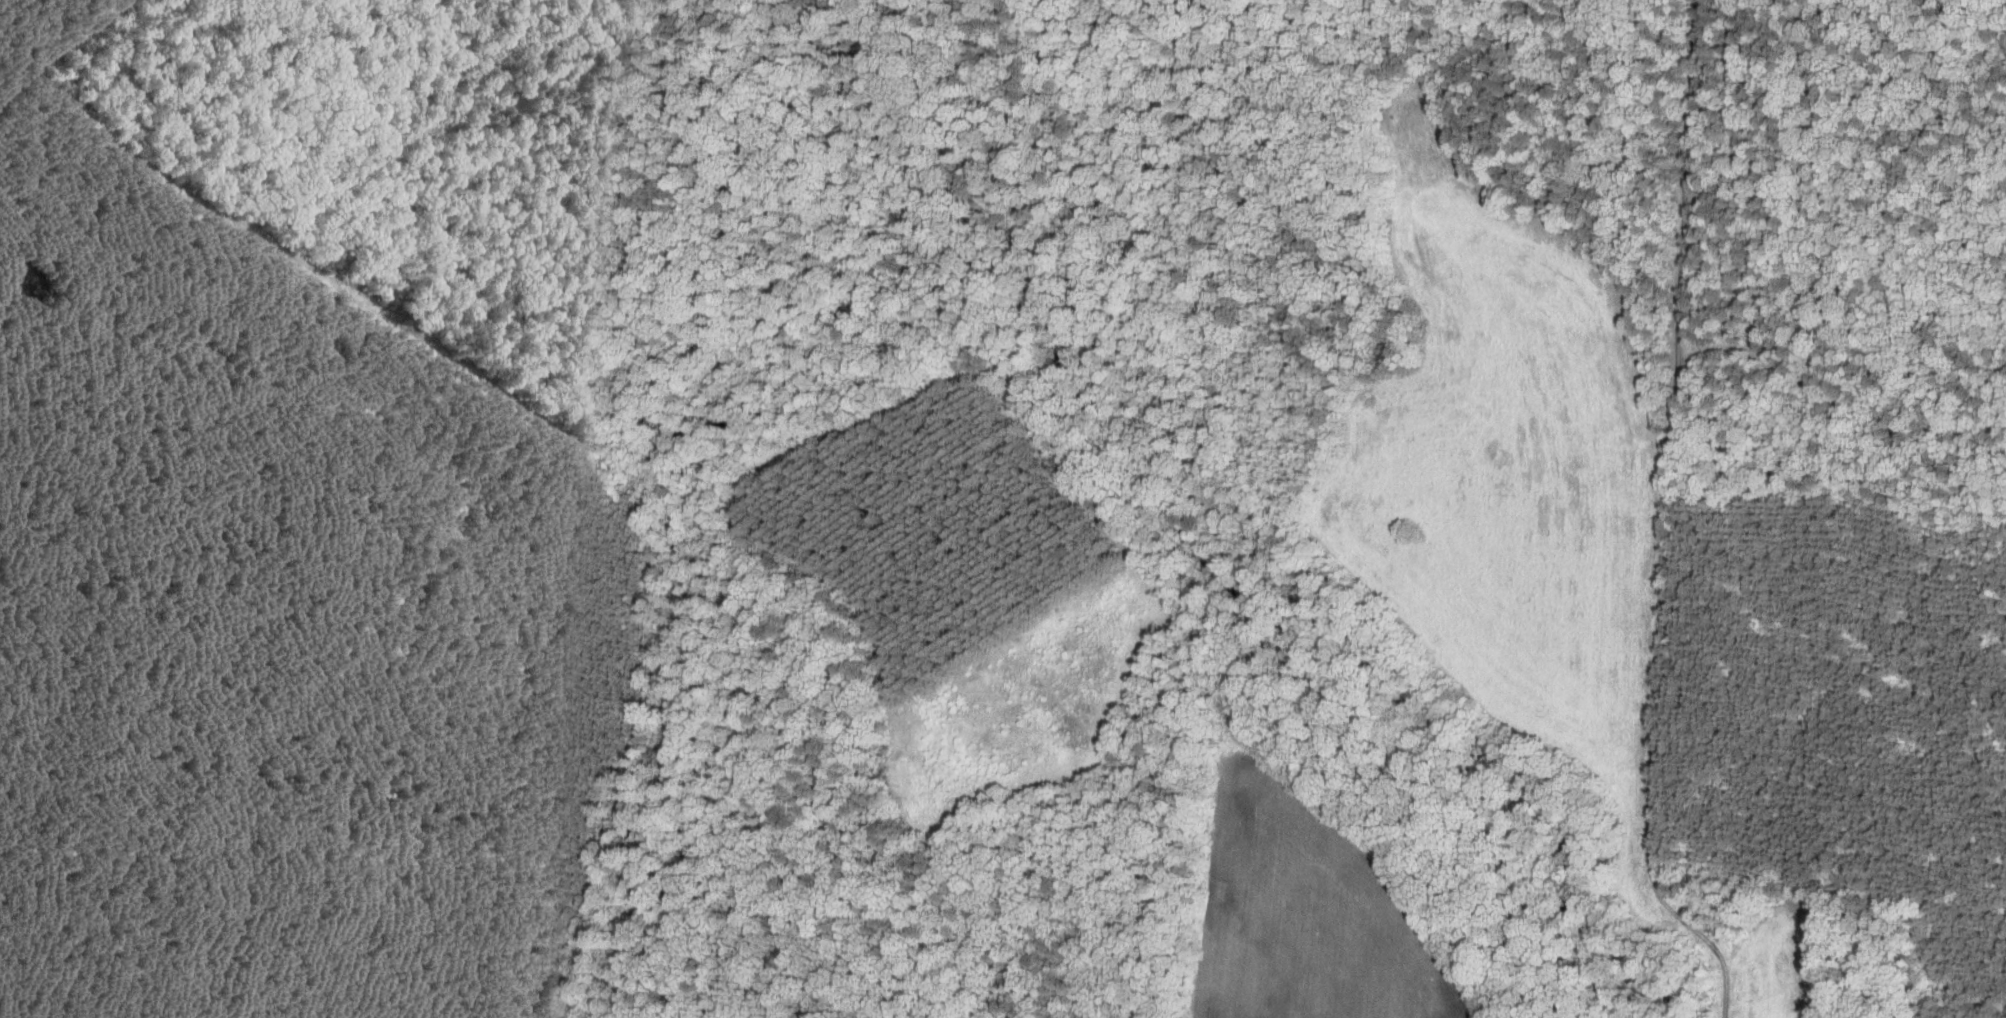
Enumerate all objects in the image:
road: (1646, 513)

